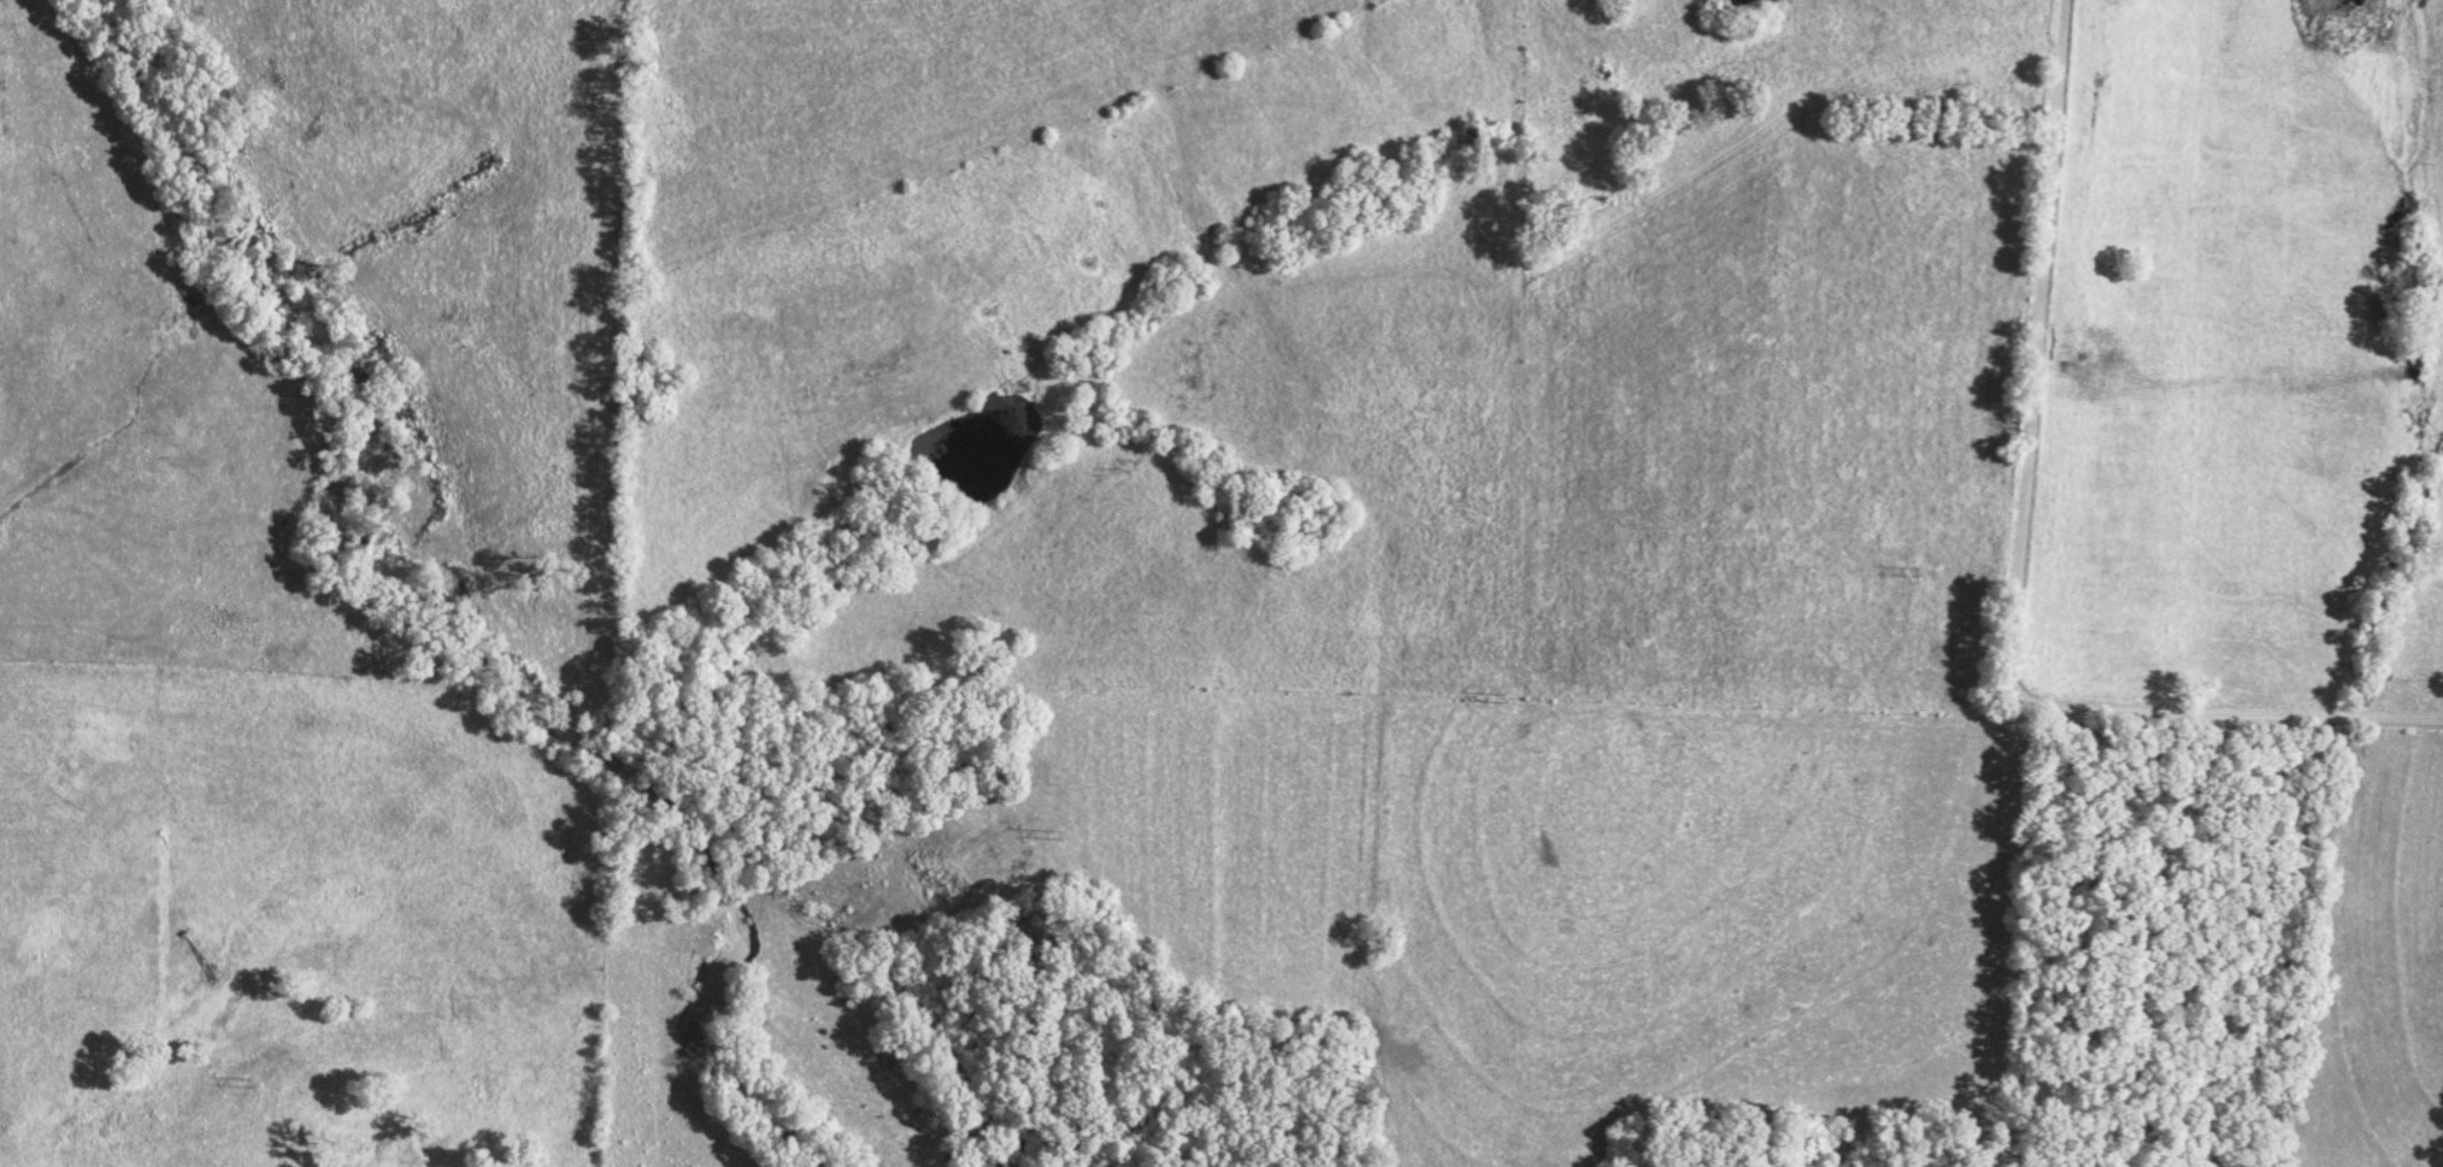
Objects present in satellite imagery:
road: (2023, 560)

